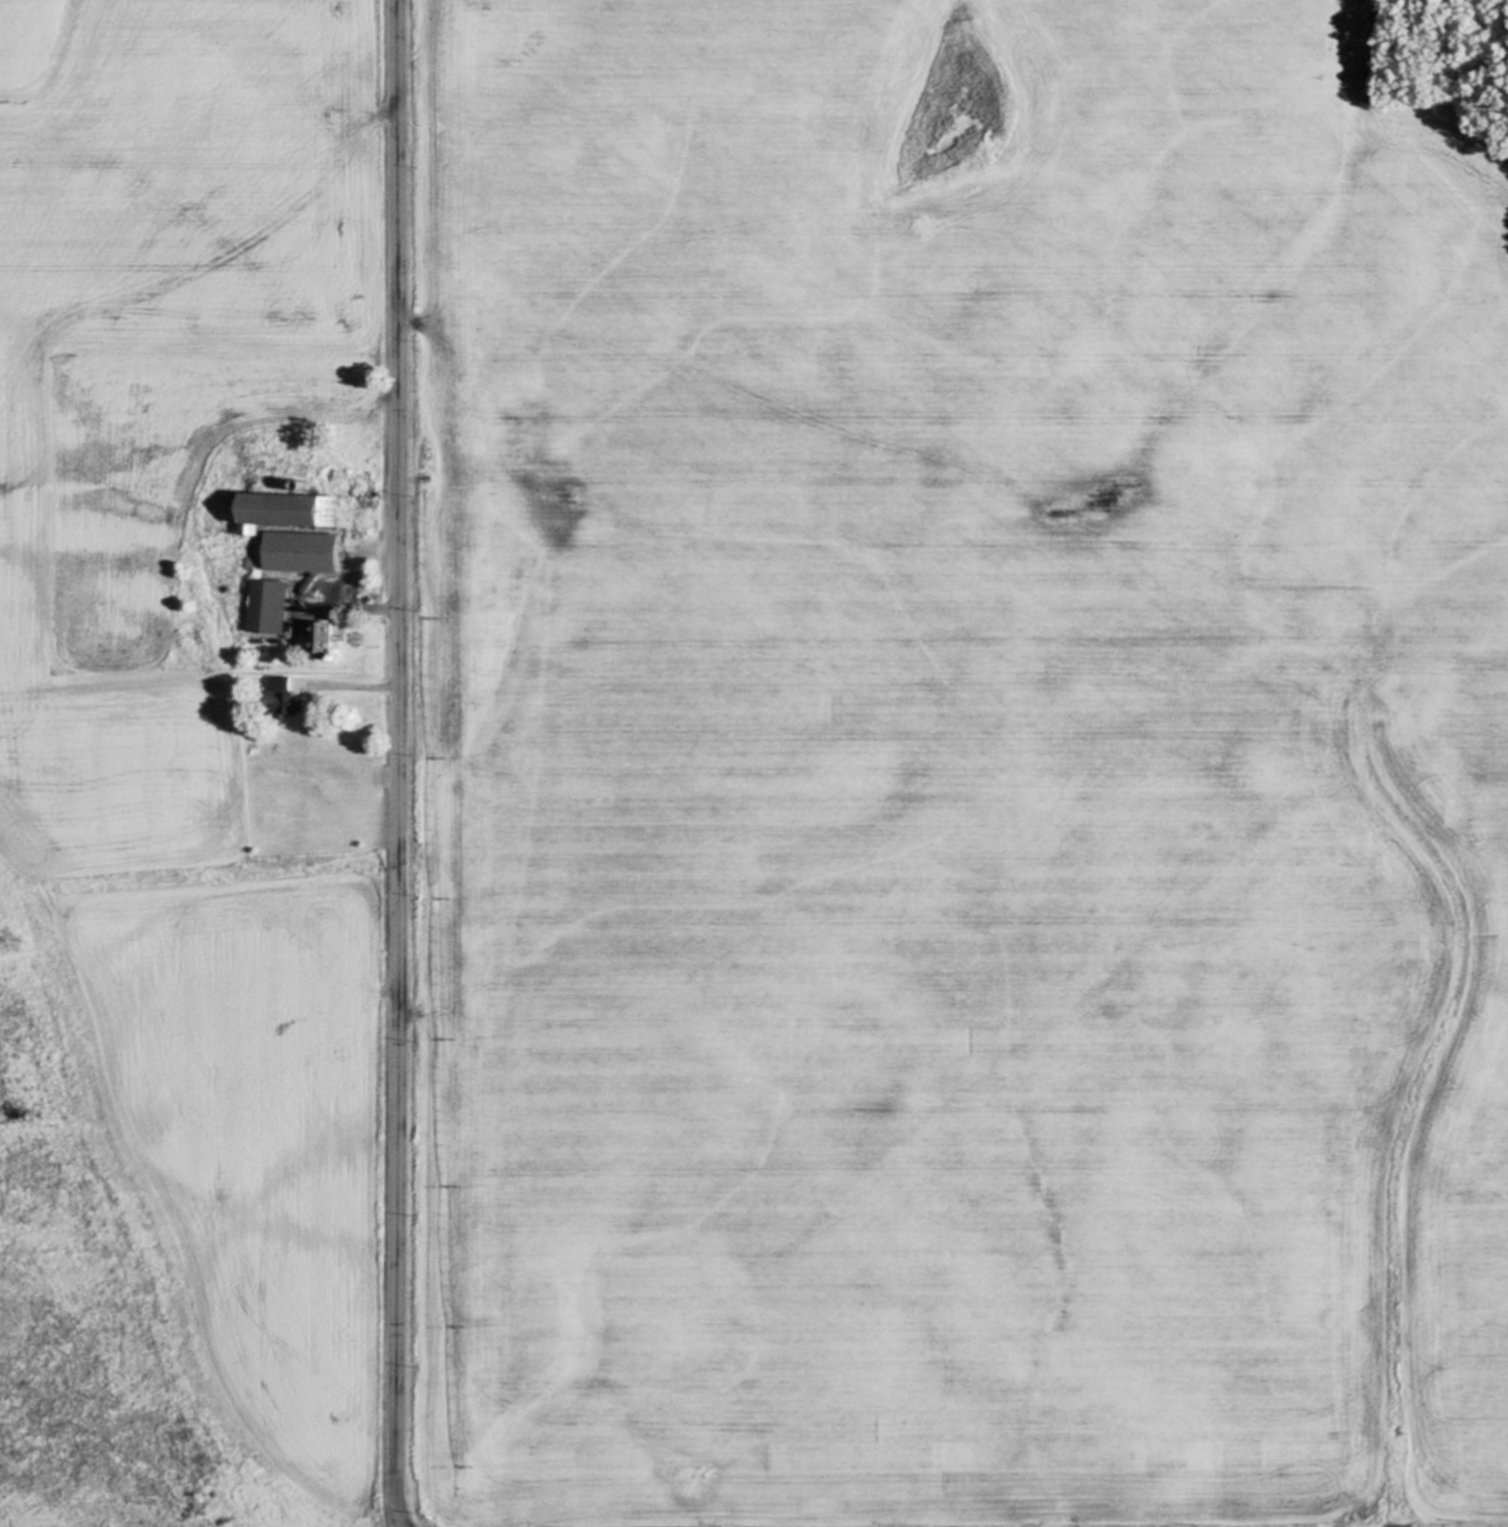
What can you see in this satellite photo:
building: (306, 484)
building: (294, 510)
building: (298, 553)
building: (276, 606)
building: (330, 638)
building: (289, 699)
road: (395, 764)

